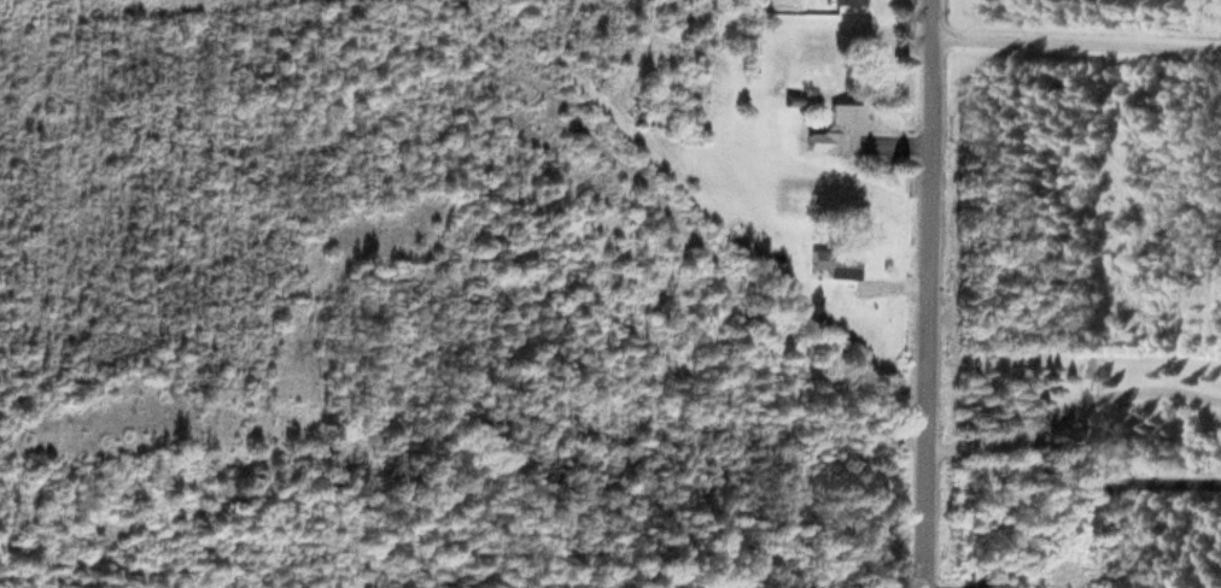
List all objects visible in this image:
building: (843, 0)
road: (1077, 47)
building: (832, 129)
building: (832, 259)
road: (931, 293)
road: (1062, 474)

